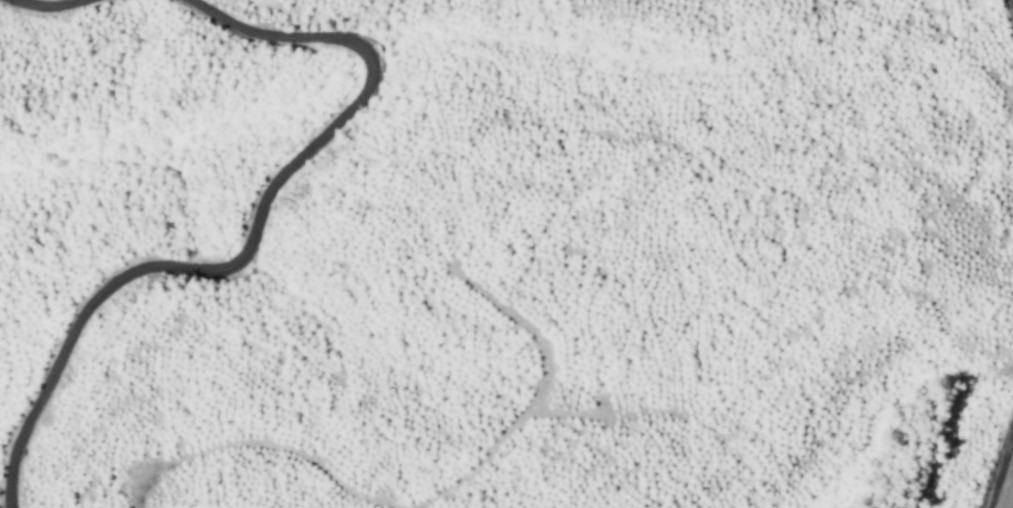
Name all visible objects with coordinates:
road: (998, 467)

